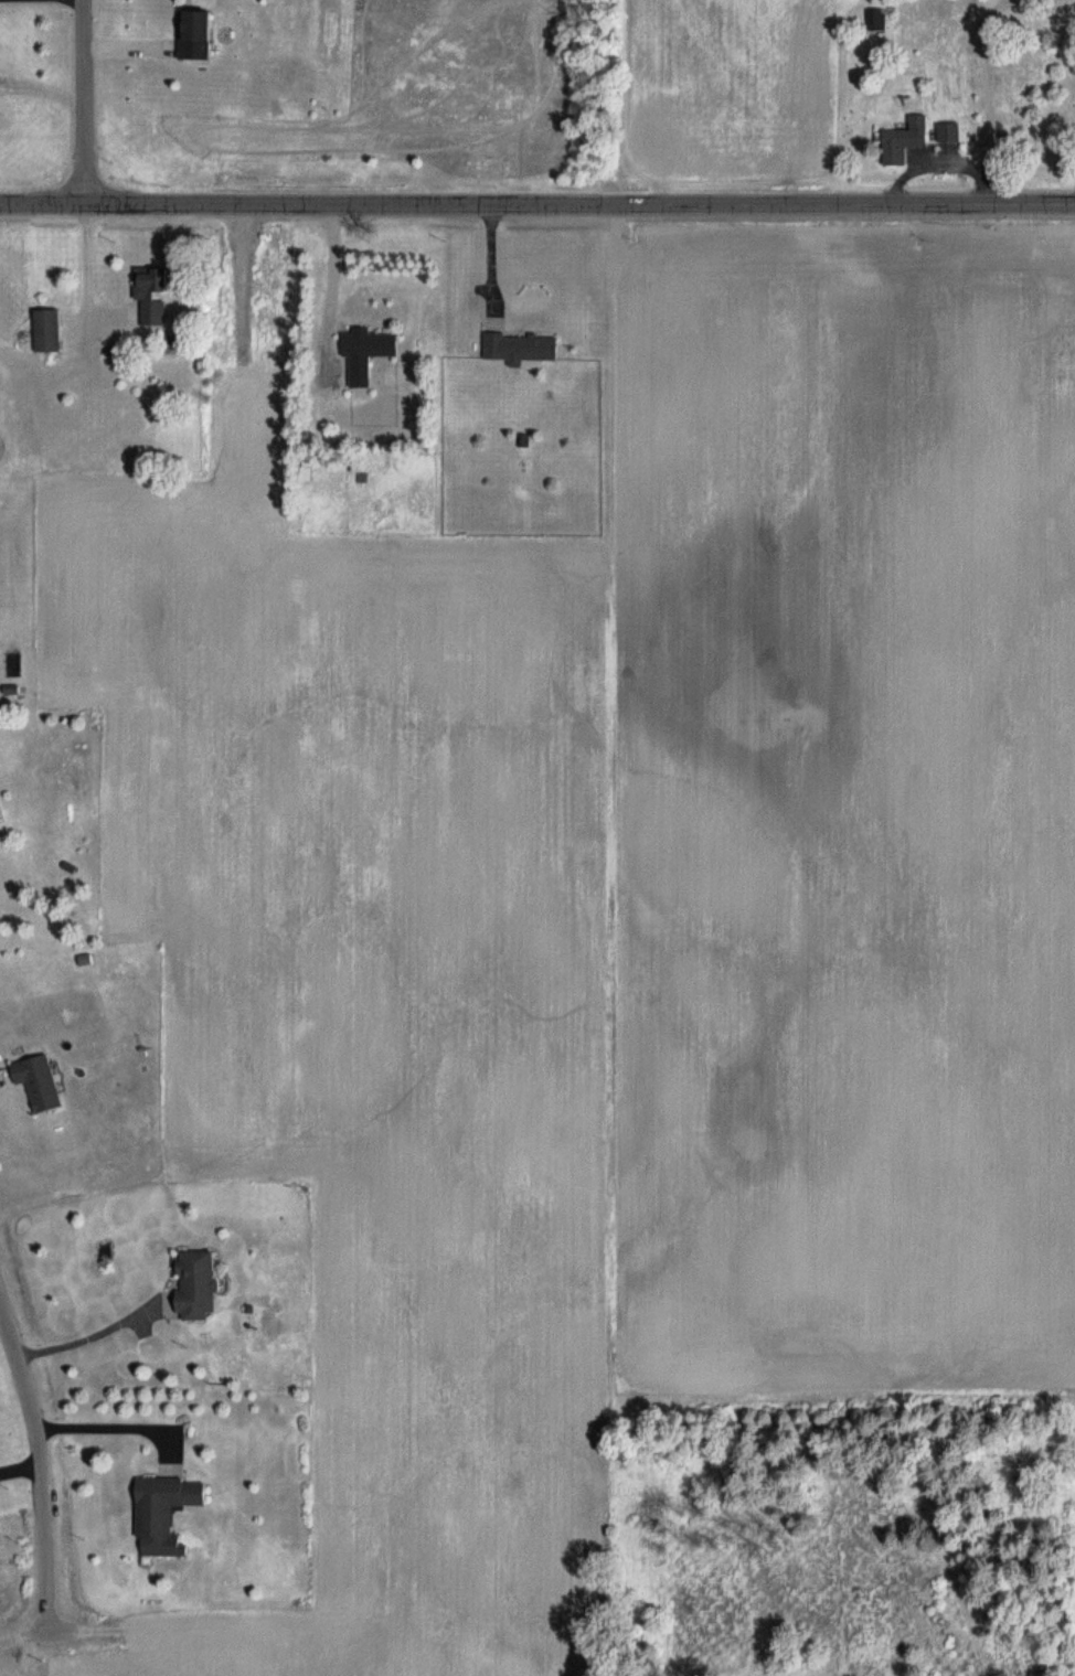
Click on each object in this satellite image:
building: (876, 20)
building: (196, 35)
crop: (707, 94)
road: (83, 102)
building: (948, 134)
building: (904, 141)
road: (537, 204)
road: (493, 264)
road: (89, 270)
road: (332, 285)
building: (151, 297)
building: (49, 332)
building: (521, 349)
building: (366, 353)
building: (40, 1082)
building: (196, 1287)
road: (89, 1336)
road: (117, 1424)
road: (36, 1459)
road: (18, 1467)
building: (166, 1515)
road: (31, 1640)

